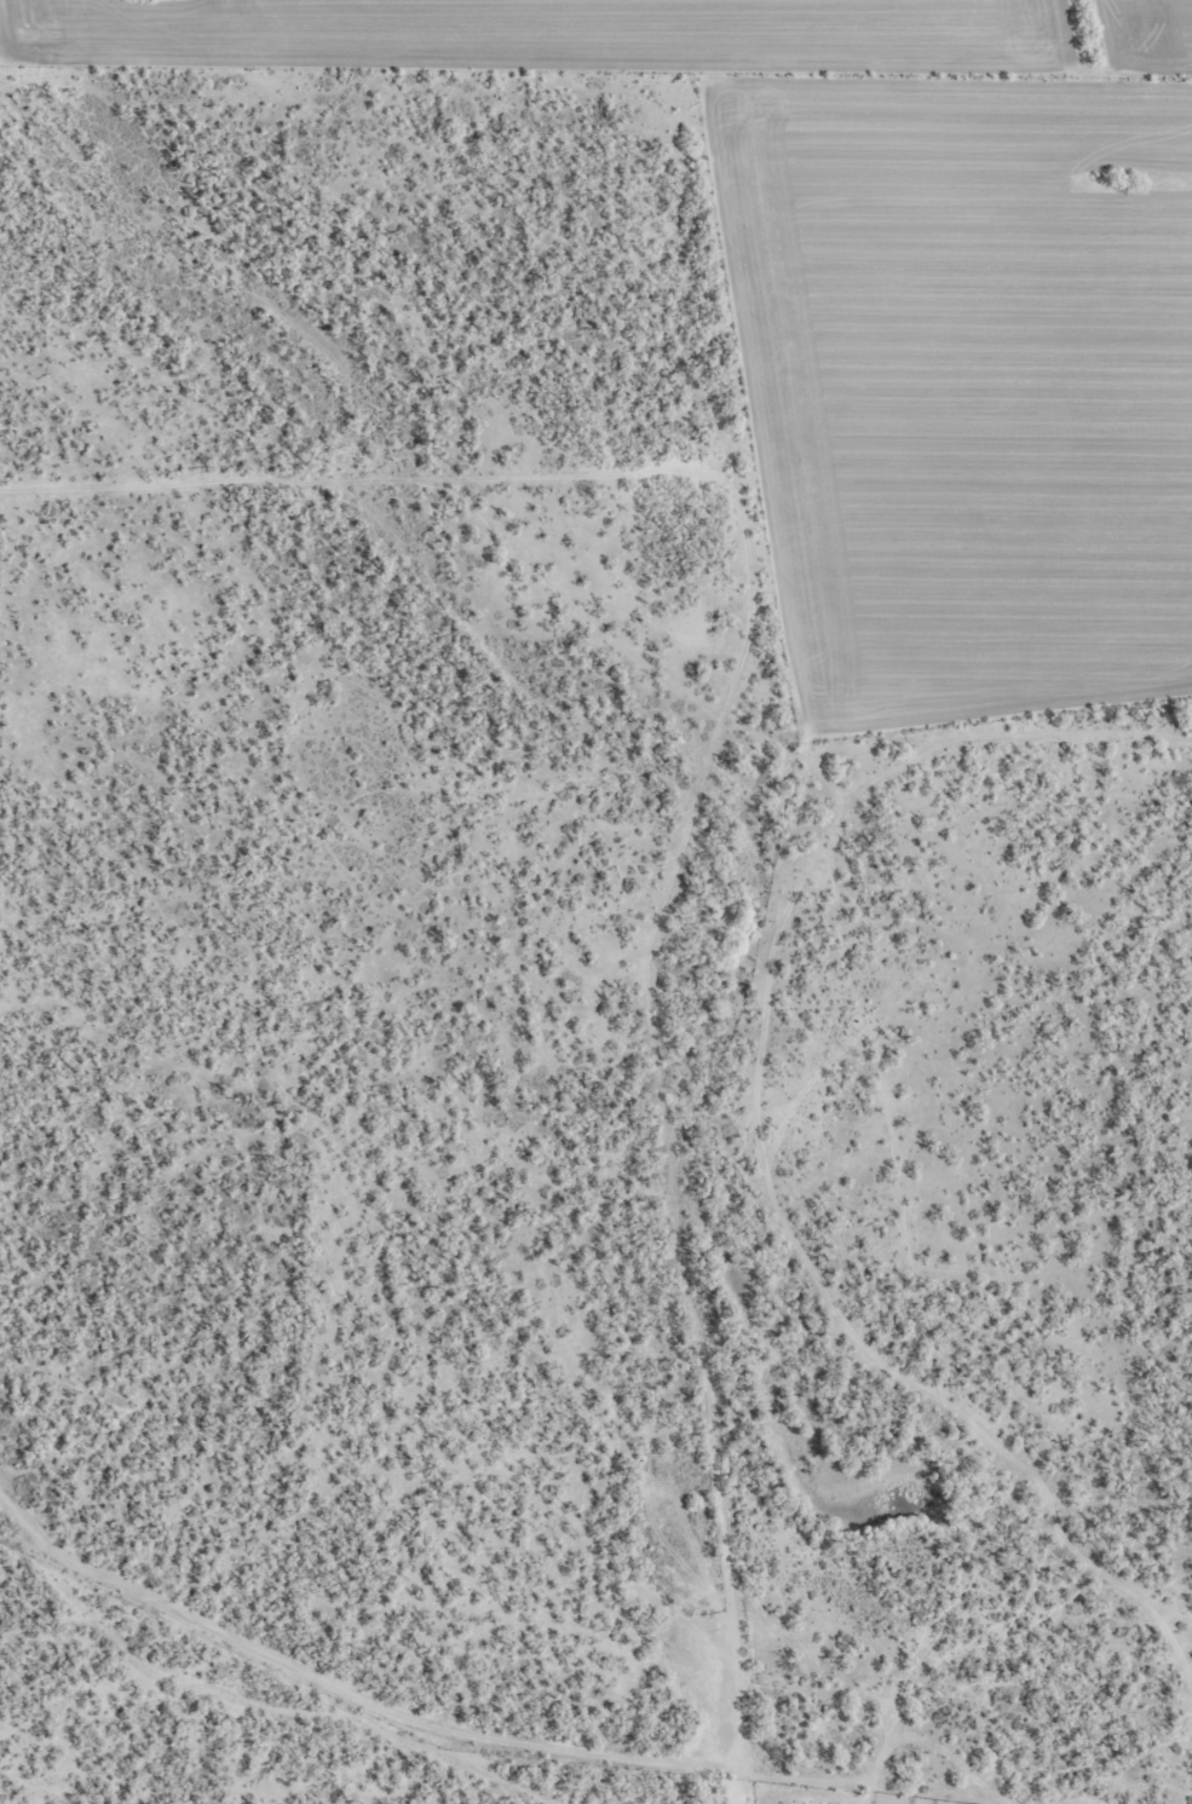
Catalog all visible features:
road: (186, 1660)

